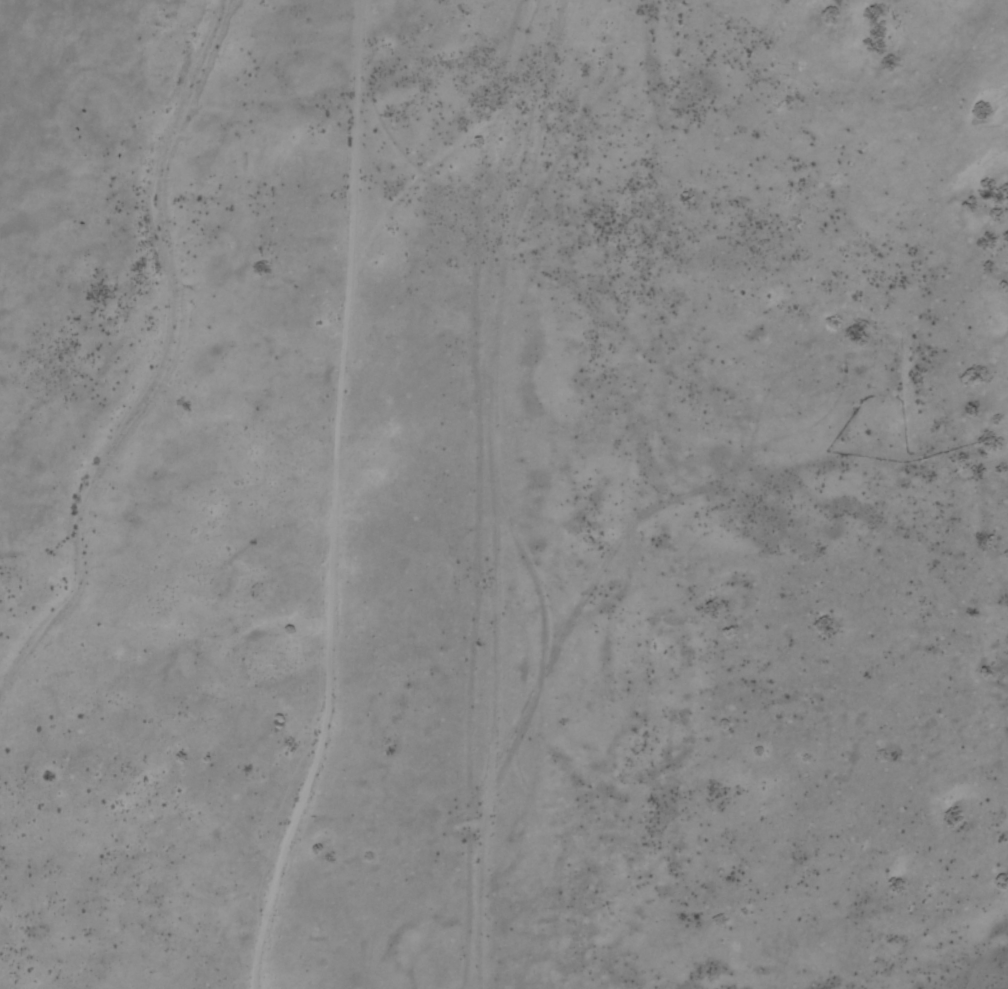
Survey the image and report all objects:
road: (521, 492)

